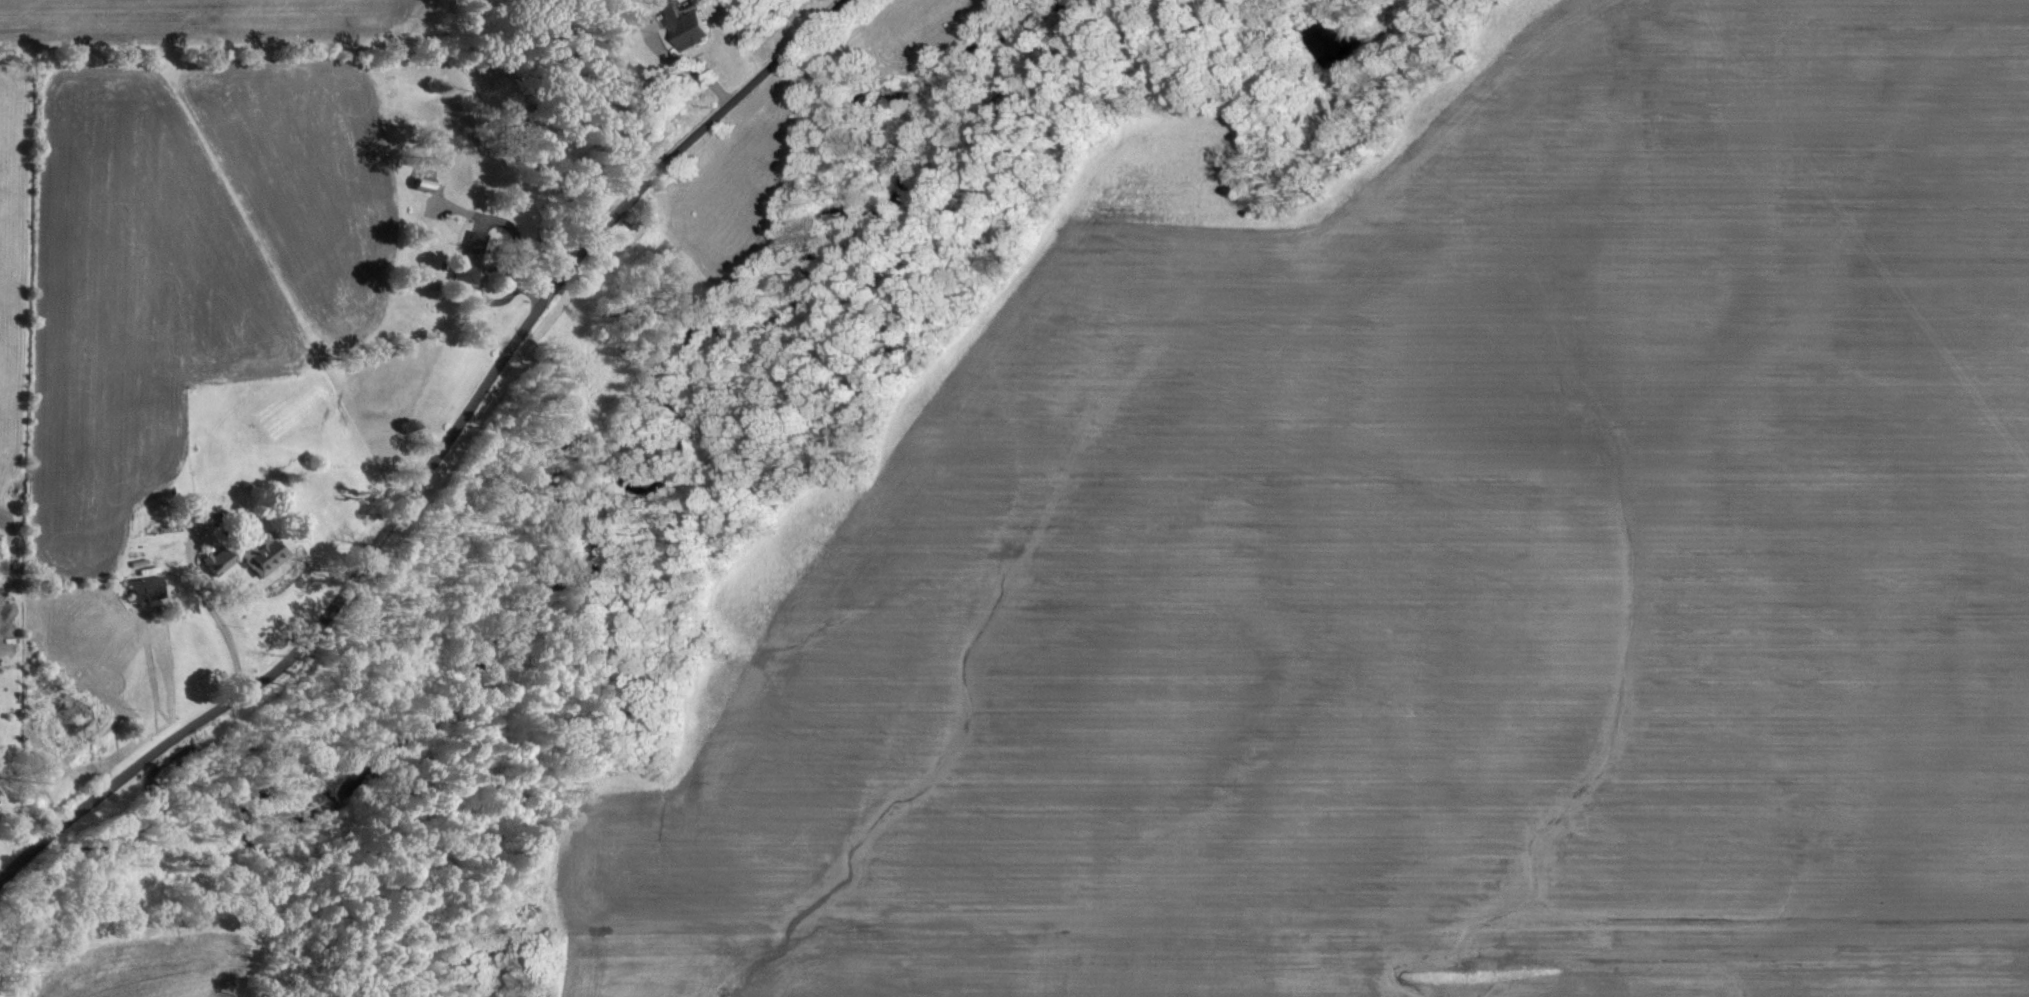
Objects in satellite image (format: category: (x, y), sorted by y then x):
building: (677, 23)
road: (691, 70)
building: (472, 256)
road: (437, 454)
building: (264, 554)
building: (220, 561)
building: (146, 588)
road: (212, 611)

